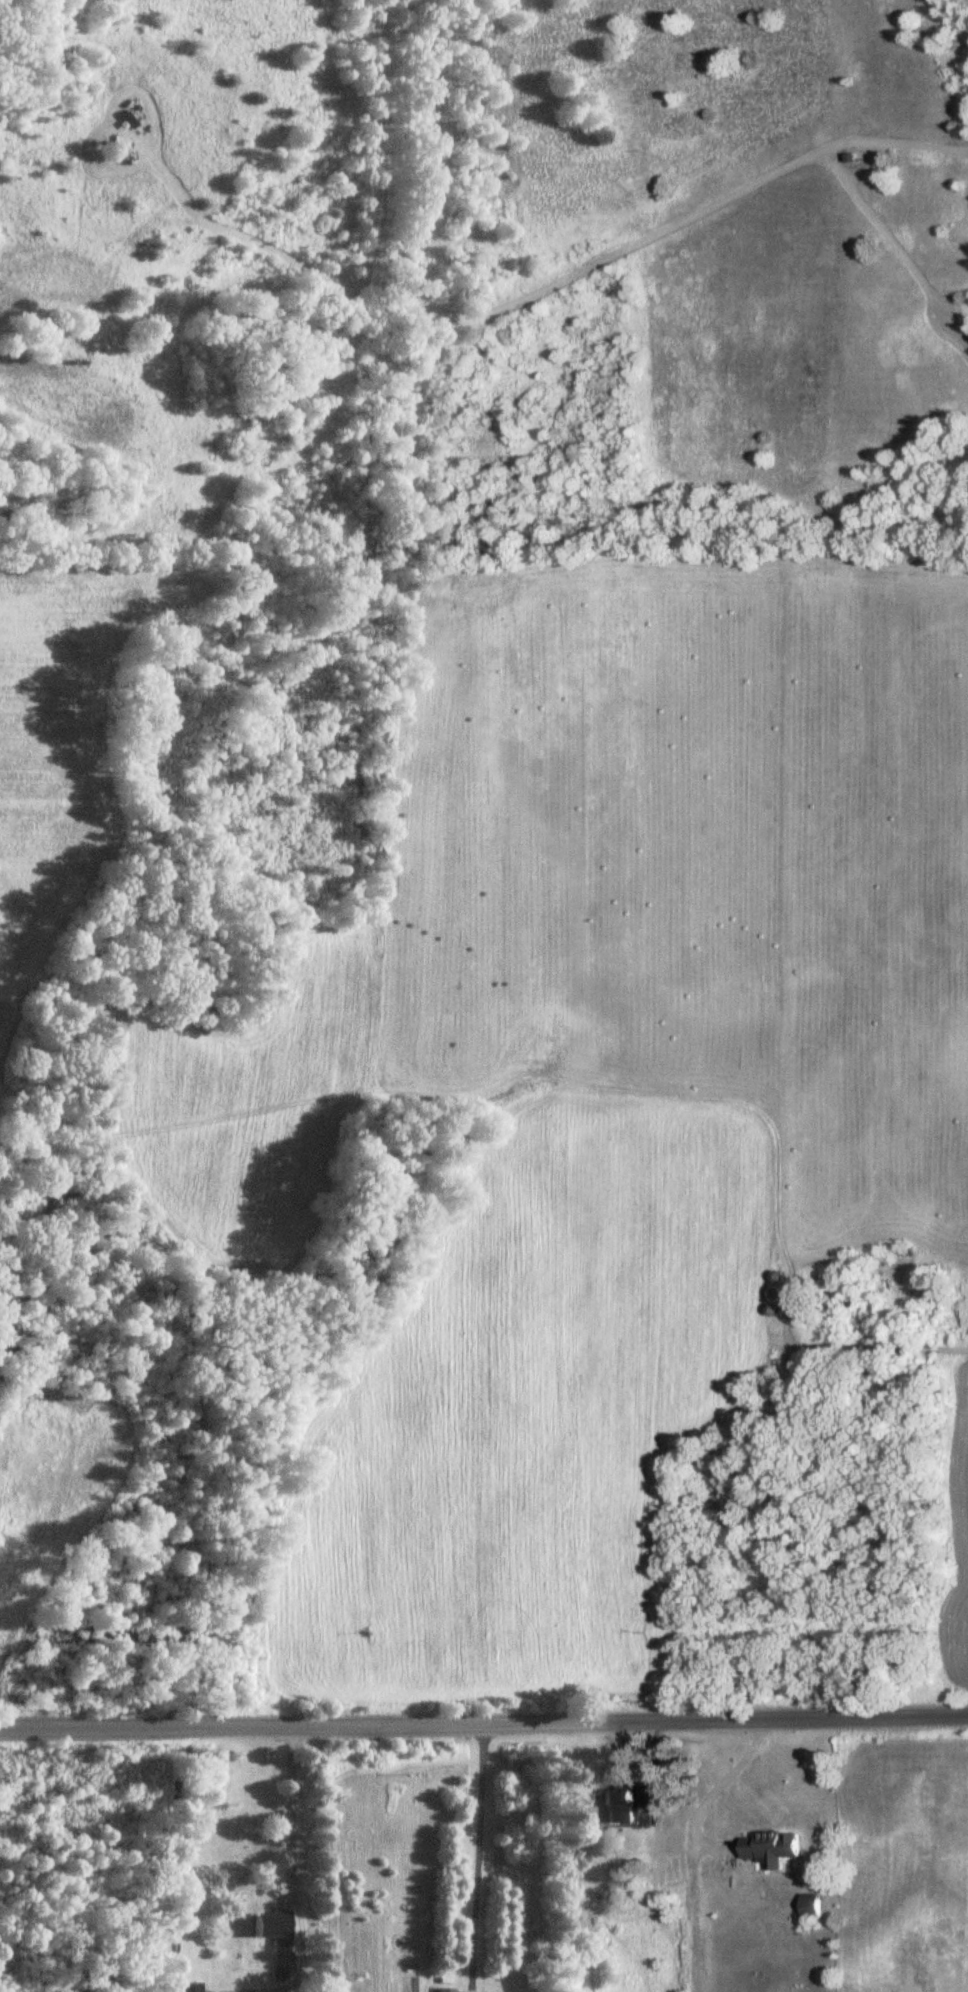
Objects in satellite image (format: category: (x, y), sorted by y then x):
building: (849, 157)
road: (958, 331)
building: (958, 1321)
road: (484, 1714)
road: (716, 1788)
building: (622, 1805)
road: (288, 1808)
building: (775, 1848)
road: (475, 1853)
building: (809, 1905)
building: (273, 1928)
building: (189, 1988)
building: (445, 1990)

